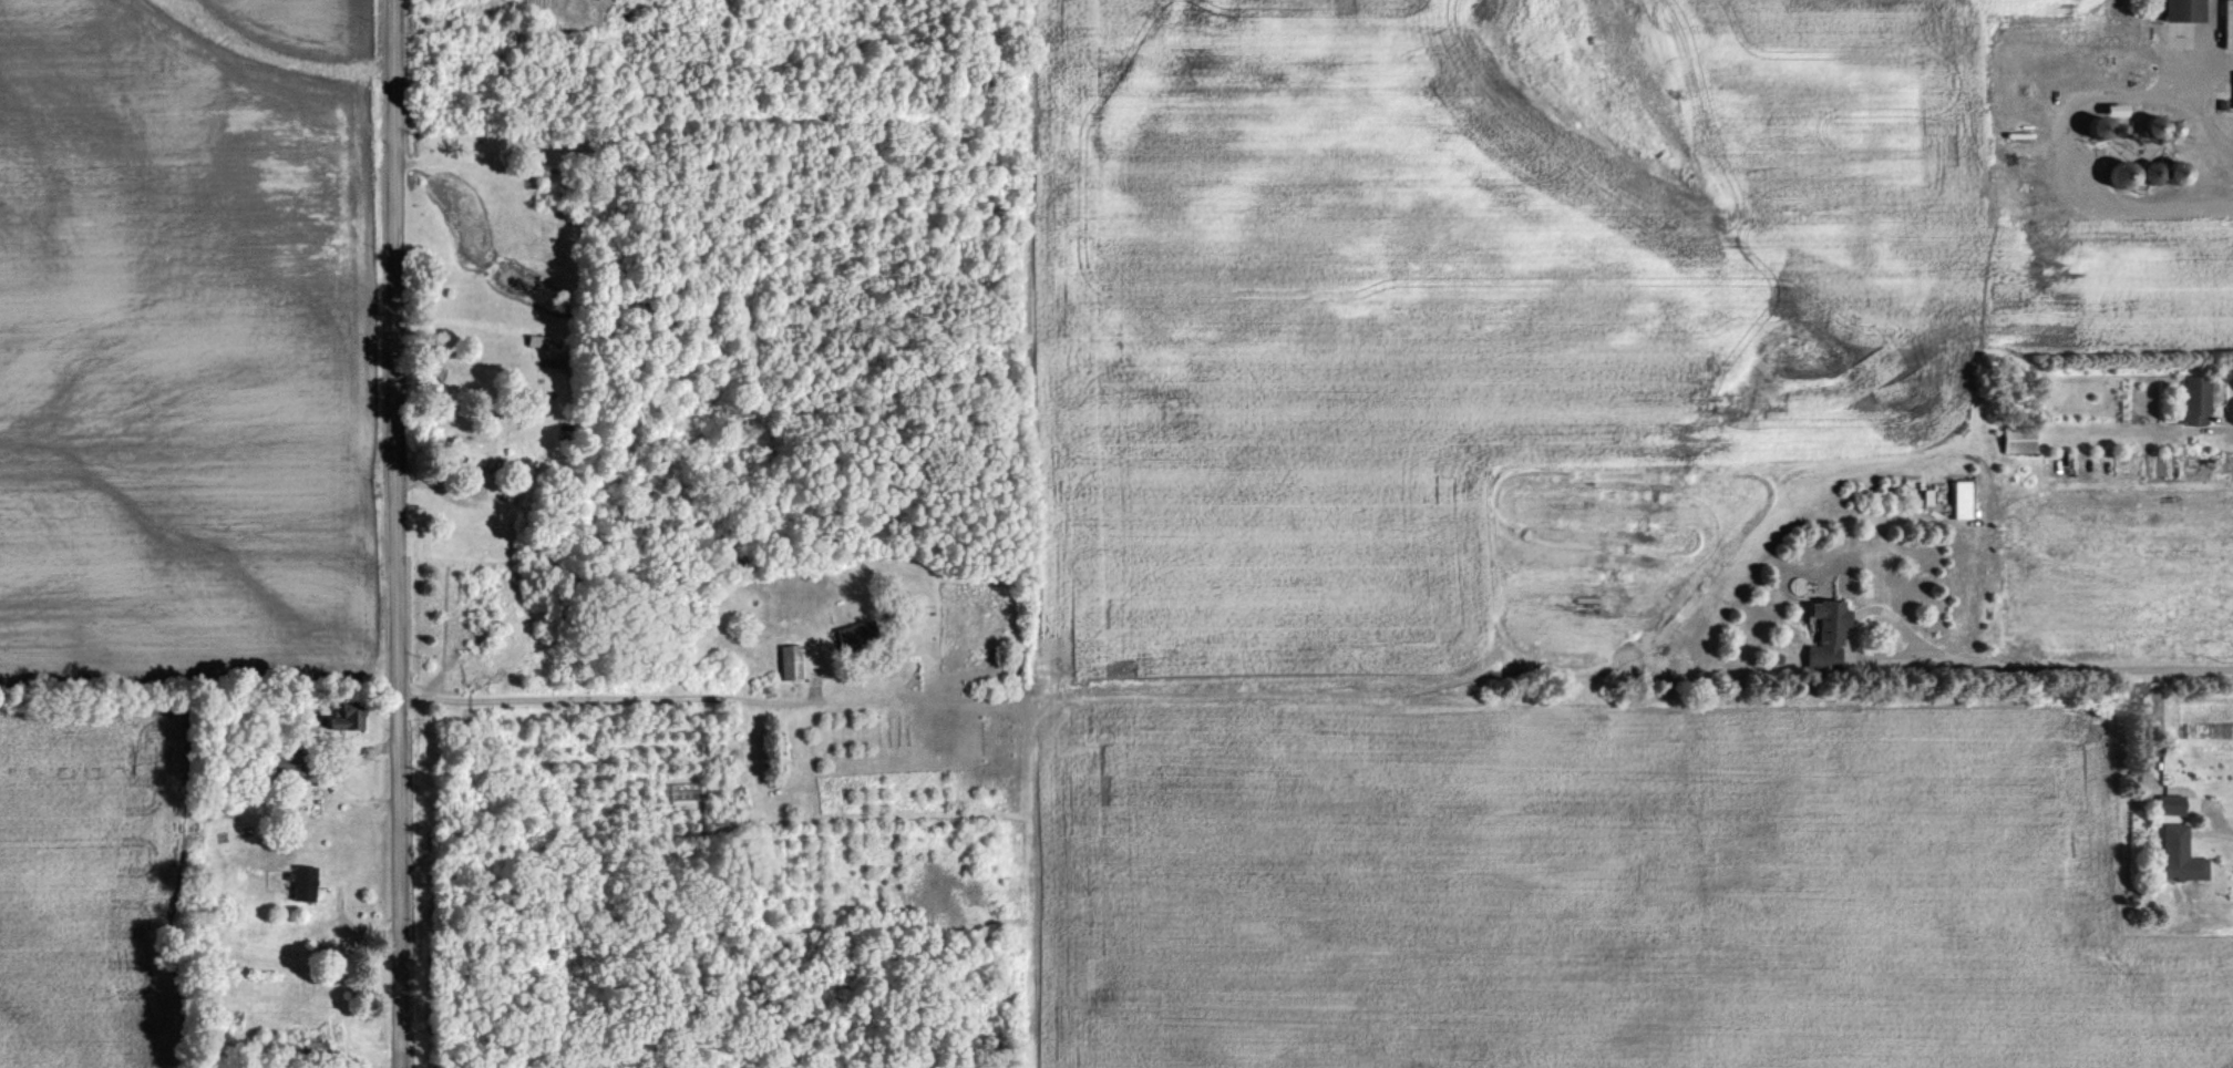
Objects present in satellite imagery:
building: (2184, 10)
building: (2229, 23)
road: (2208, 37)
road: (2194, 102)
building: (2118, 109)
building: (2105, 126)
road: (2058, 170)
building: (2128, 173)
building: (2196, 400)
road: (2232, 424)
building: (2020, 439)
building: (1964, 499)
road: (404, 533)
road: (1849, 617)
building: (853, 633)
building: (1830, 634)
building: (791, 660)
road: (2069, 664)
road: (613, 696)
building: (289, 761)
building: (2174, 803)
road: (2220, 824)
building: (2182, 854)
building: (305, 882)

